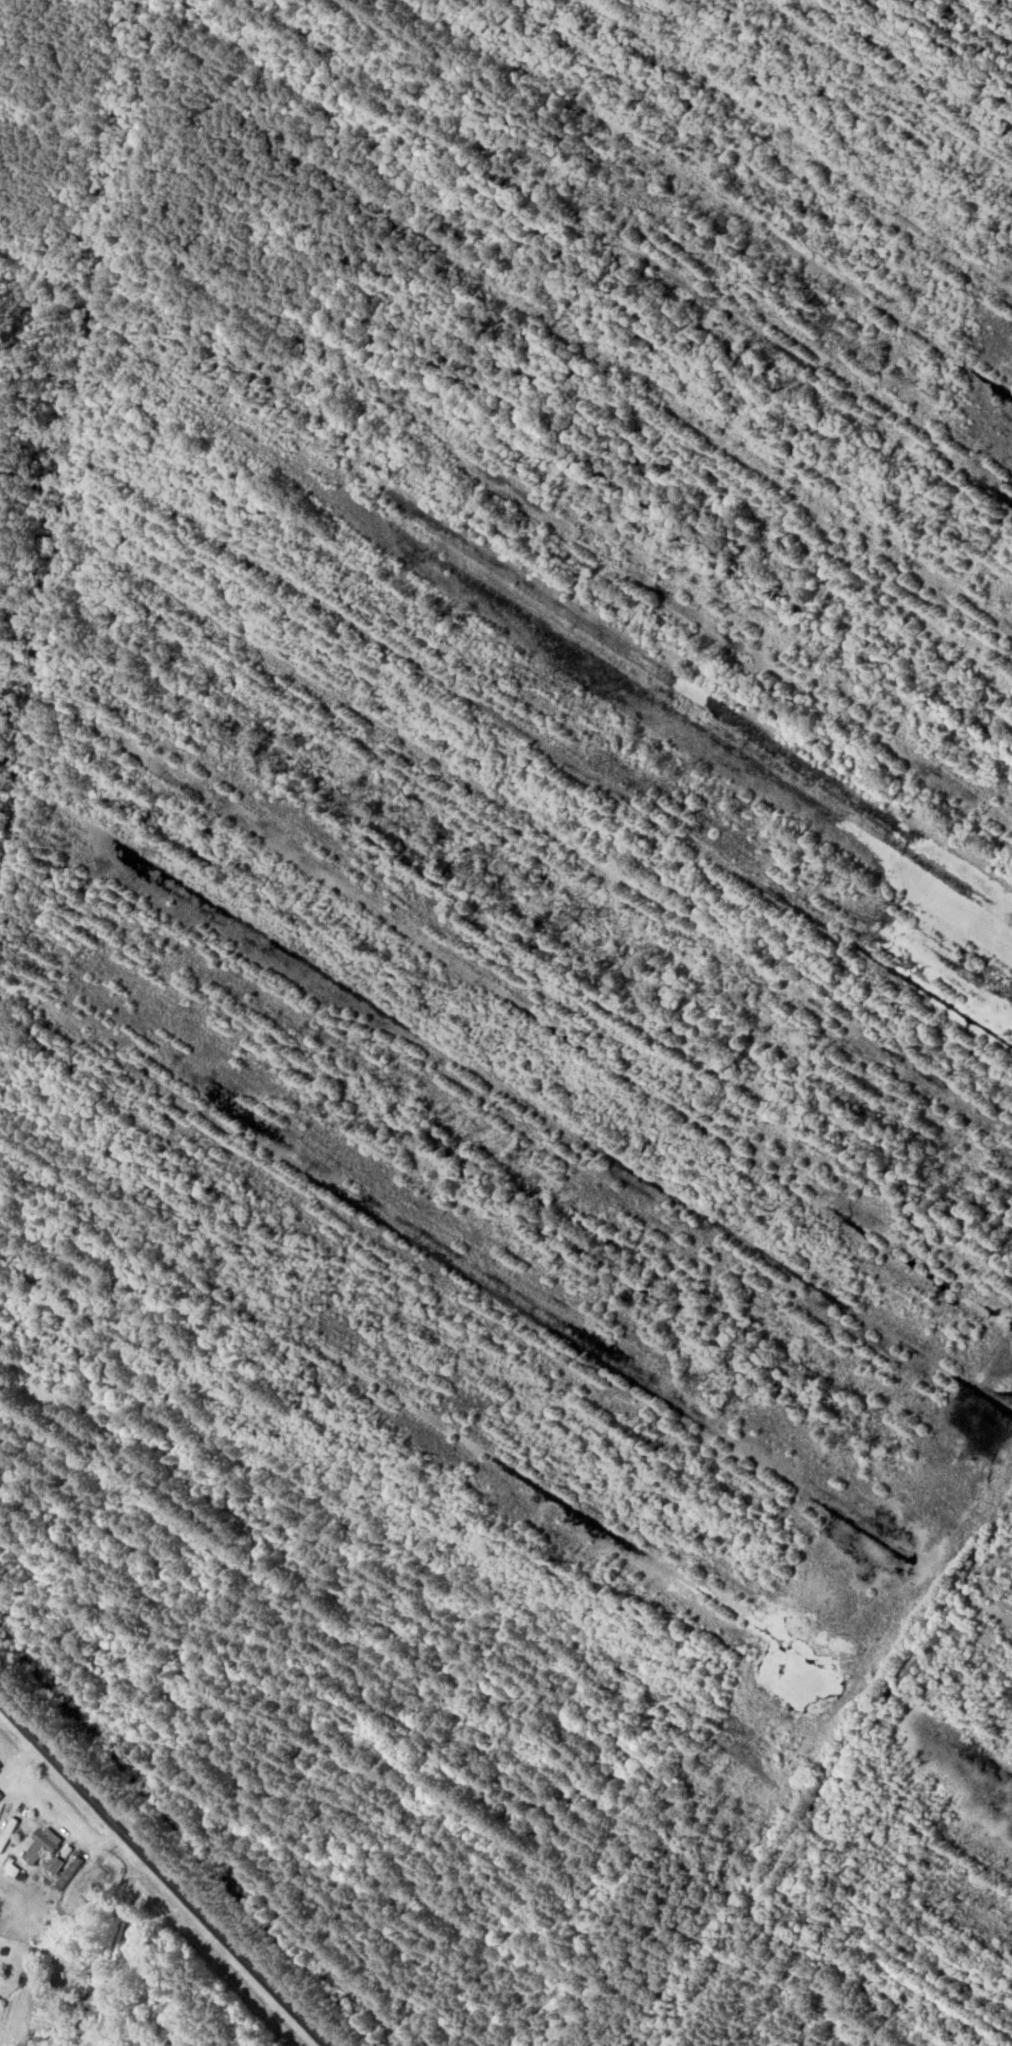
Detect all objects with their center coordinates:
building: (0, 1771)
building: (39, 1848)
building: (54, 1868)
building: (69, 1876)
road: (163, 1876)
building: (0, 1892)

